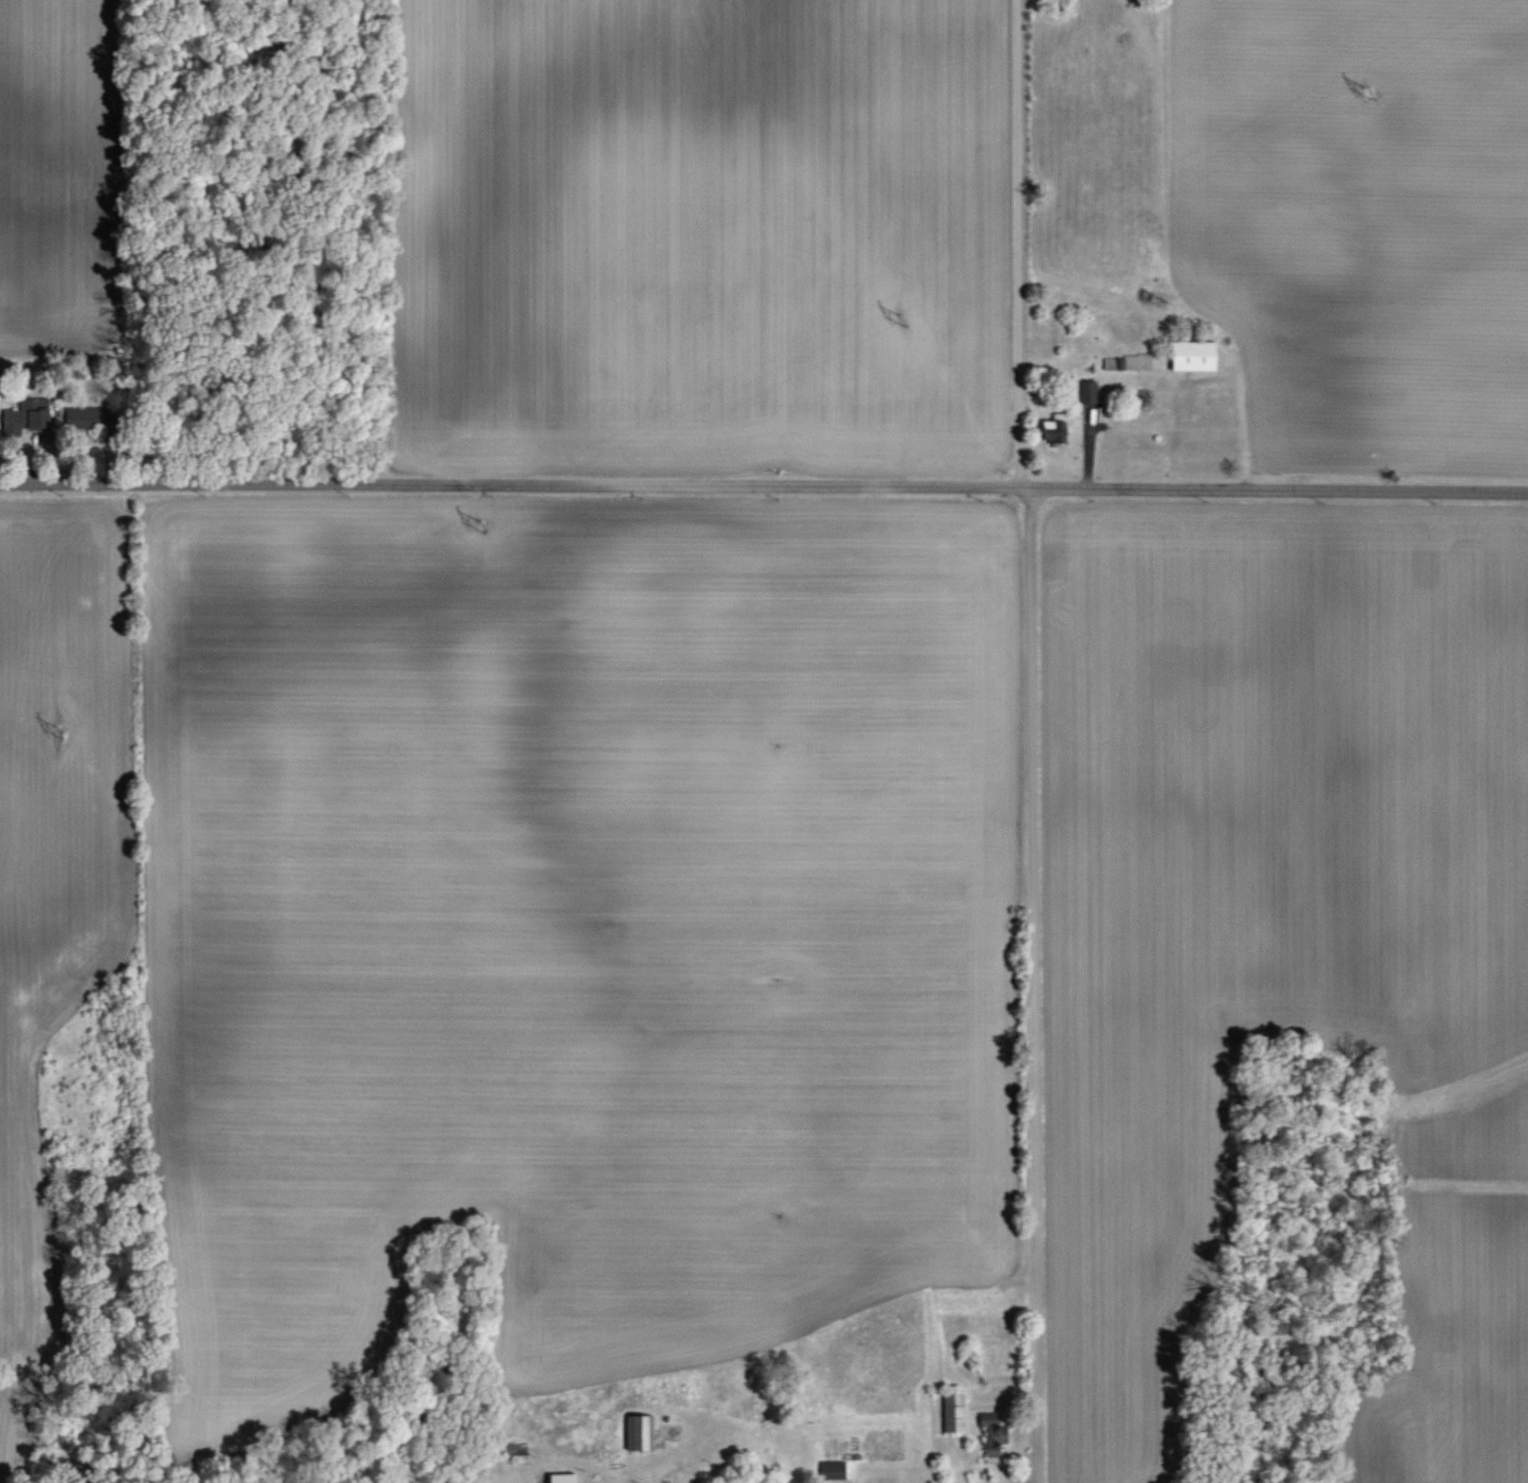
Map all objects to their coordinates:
power tower: (1369, 91)
power tower: (899, 320)
building: (1193, 355)
building: (25, 419)
road: (764, 490)
power tower: (479, 527)
power tower: (59, 733)
road: (1028, 740)
building: (953, 1411)
building: (640, 1432)
building: (993, 1434)
building: (832, 1470)
building: (563, 1478)

